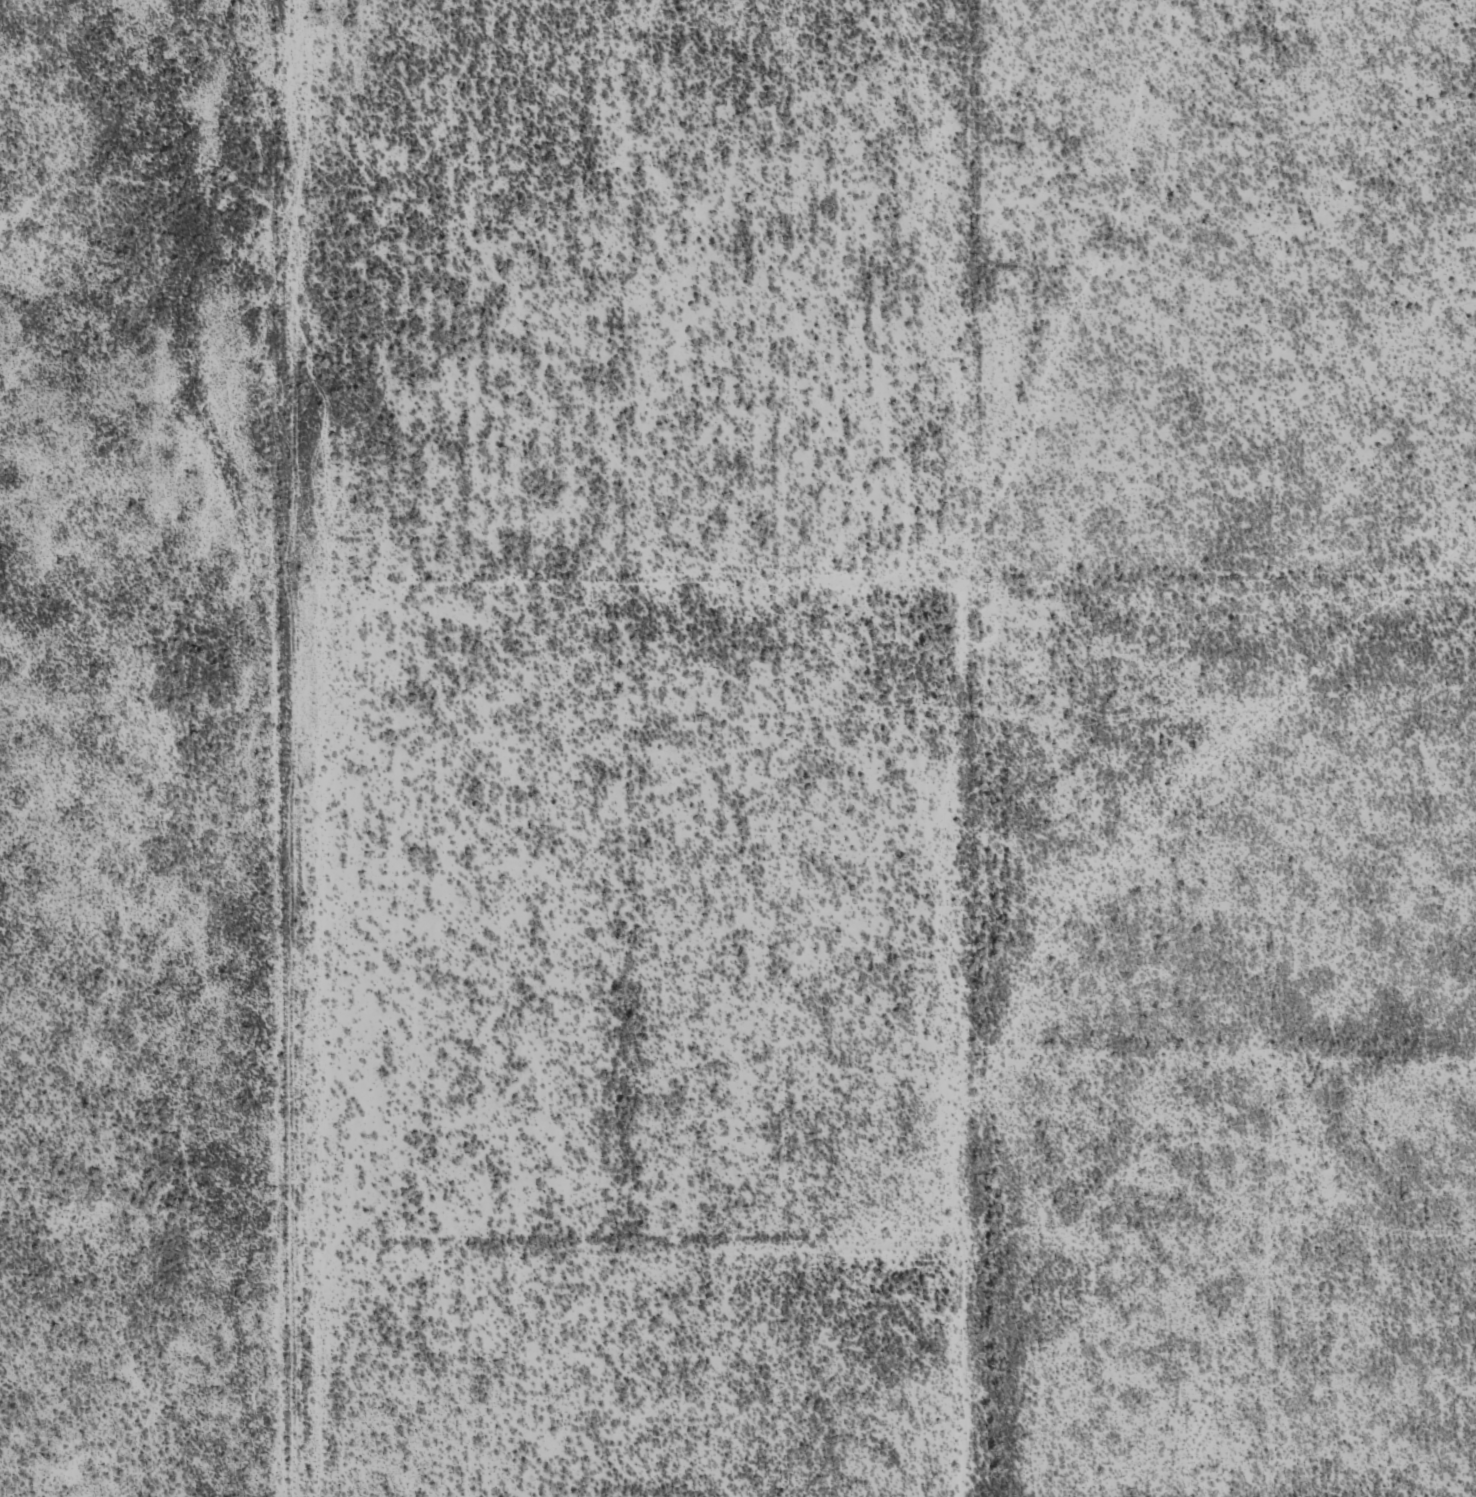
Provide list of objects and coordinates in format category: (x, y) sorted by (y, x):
road: (993, 748)

